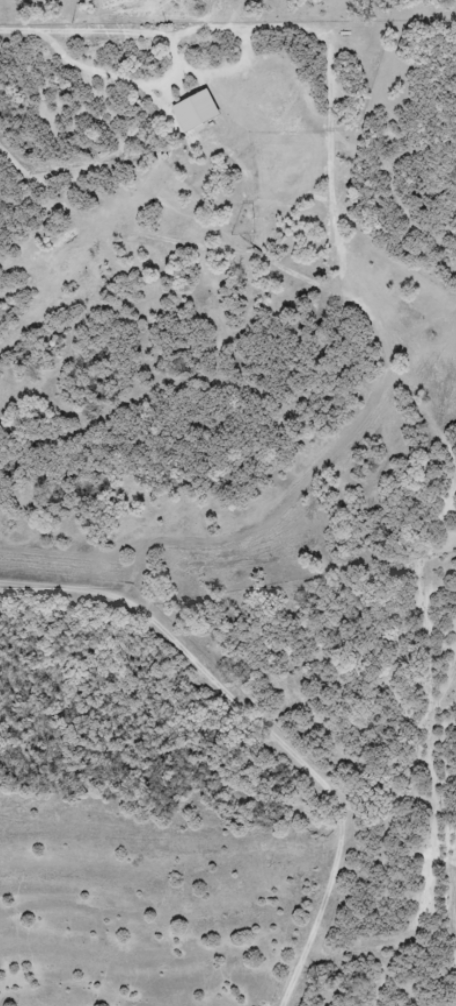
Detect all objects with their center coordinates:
building: (195, 110)
road: (267, 727)

